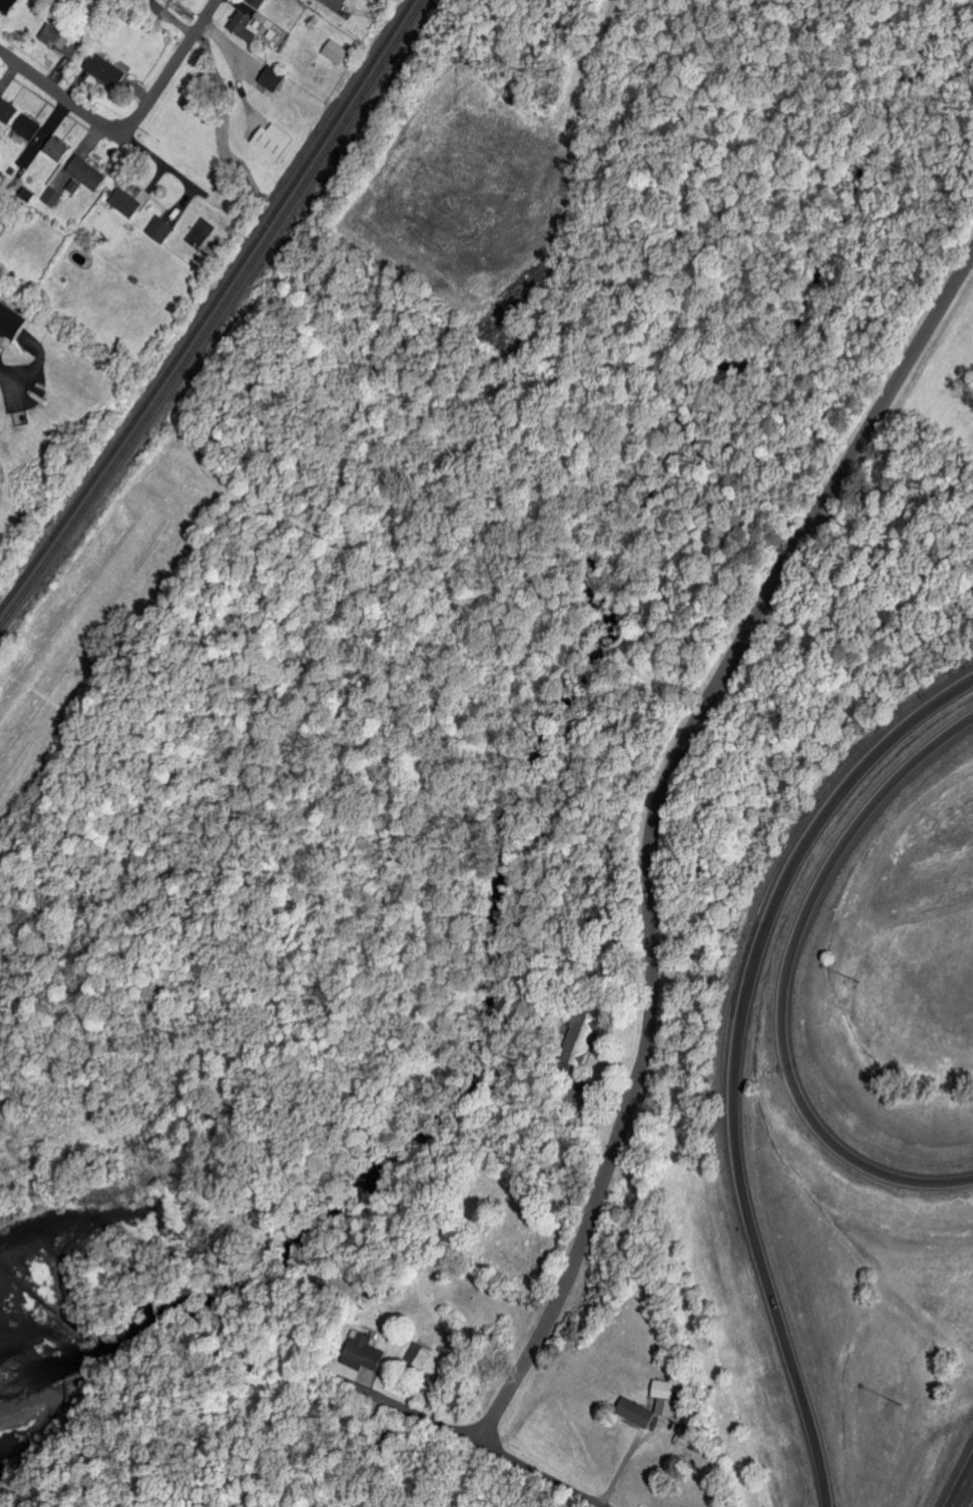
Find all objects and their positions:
building: (259, 2)
building: (10, 5)
building: (243, 25)
road: (470, 38)
building: (63, 40)
building: (338, 51)
building: (107, 70)
road: (171, 70)
building: (273, 77)
building: (9, 109)
road: (99, 122)
building: (34, 130)
building: (275, 140)
building: (58, 148)
building: (89, 172)
road: (954, 182)
building: (75, 185)
building: (53, 195)
building: (129, 202)
building: (161, 228)
road: (873, 263)
railway: (209, 307)
railway: (216, 315)
building: (15, 319)
road: (312, 343)
road: (10, 377)
road: (707, 468)
road: (400, 680)
road: (594, 704)
road: (656, 832)
road: (787, 982)
road: (737, 1057)
building: (365, 1352)
building: (417, 1354)
road: (338, 1381)
building: (669, 1396)
building: (639, 1411)
road: (963, 1489)

